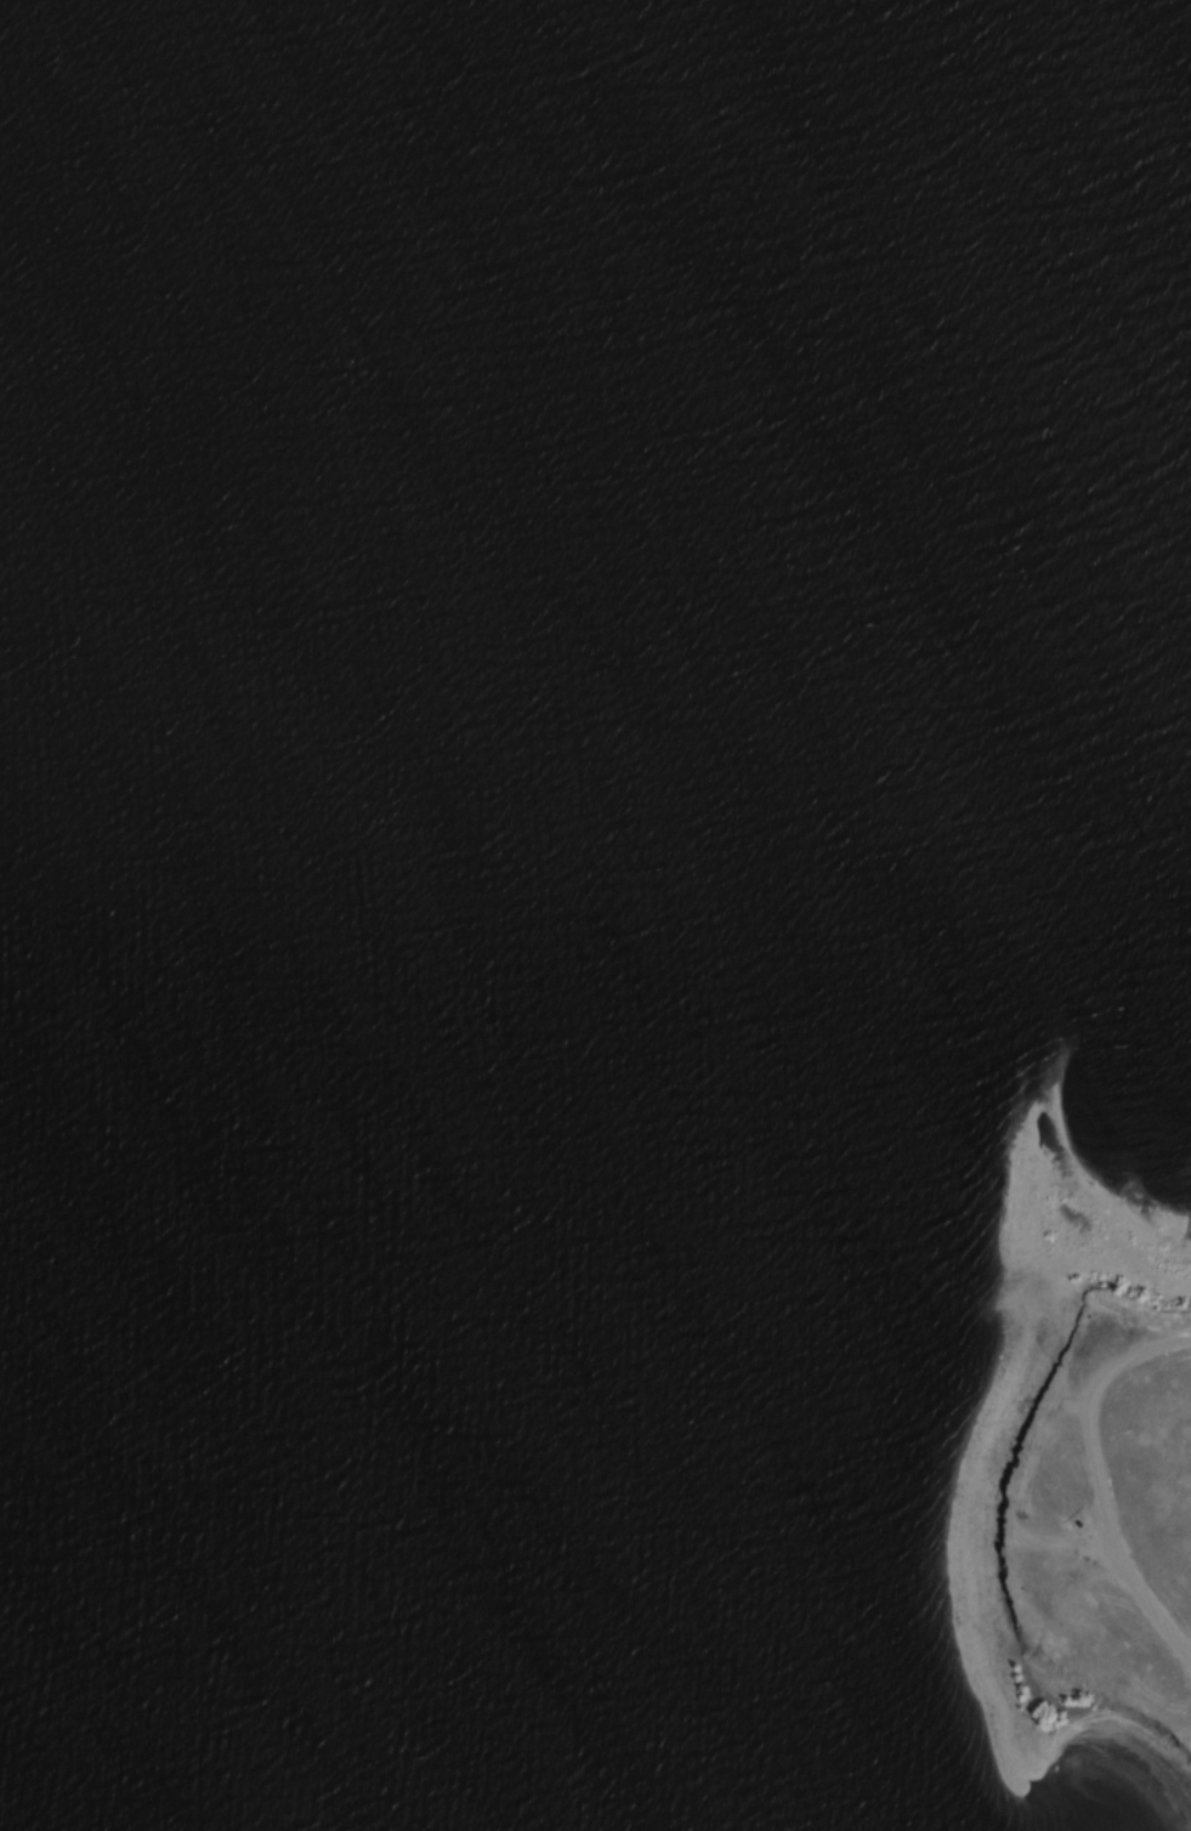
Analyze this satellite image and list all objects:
road: (1112, 1483)

